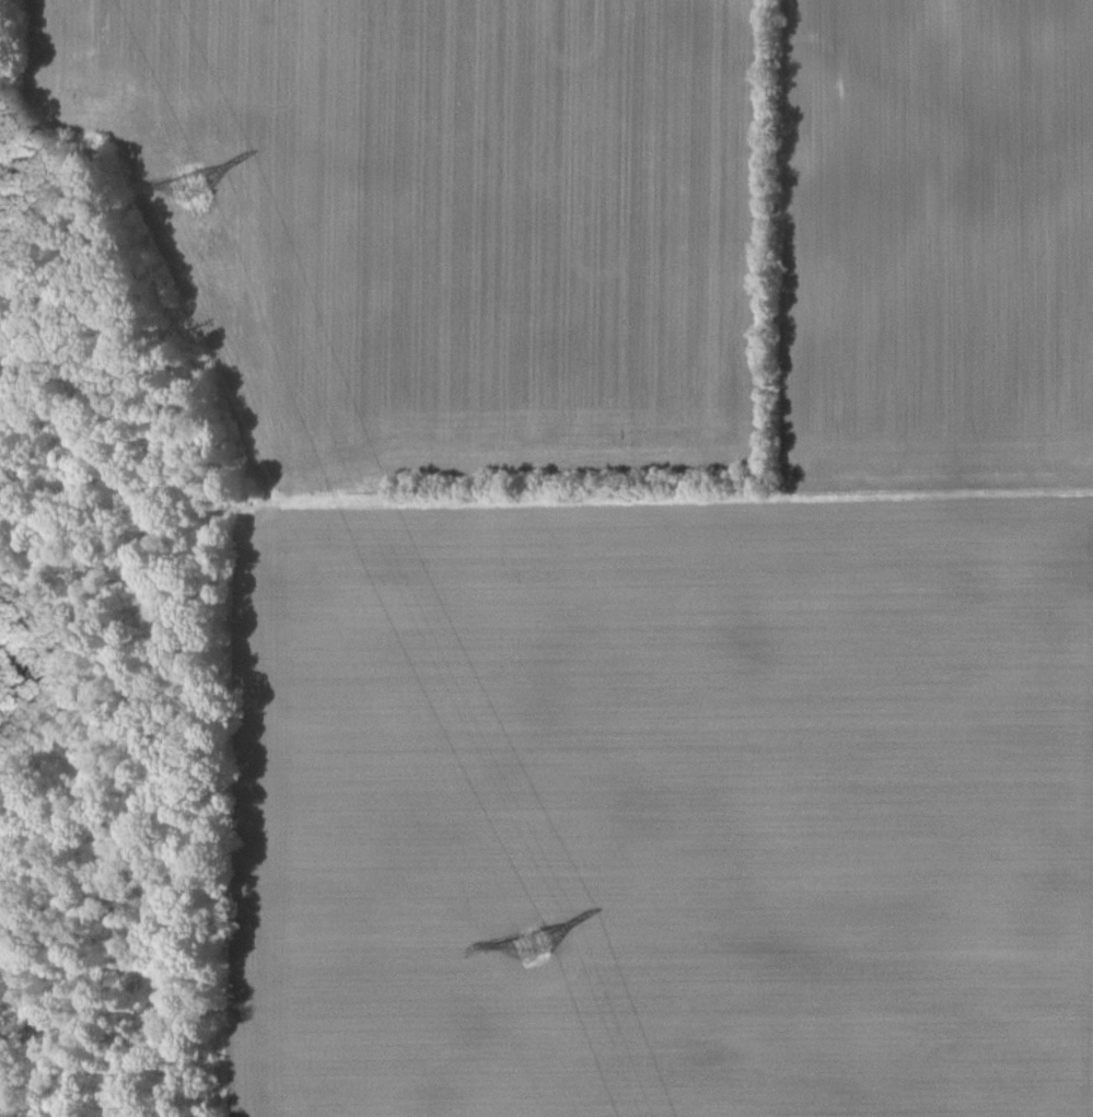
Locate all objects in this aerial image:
power tower: (193, 187)
power tower: (540, 943)

